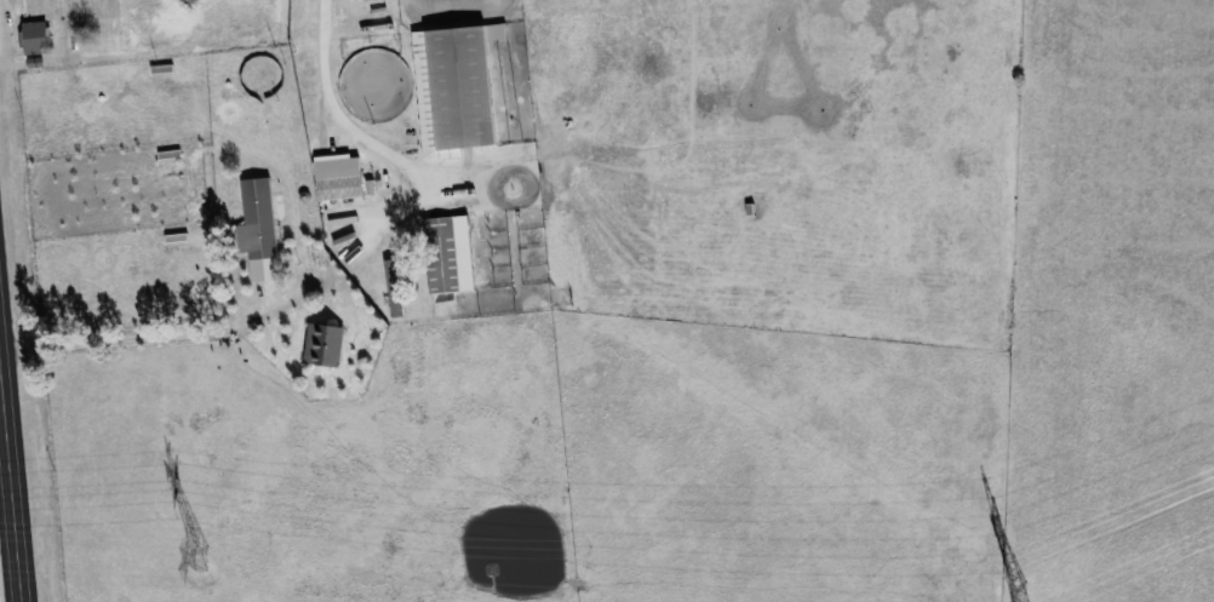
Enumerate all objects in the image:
building: (33, 4)
building: (38, 36)
building: (454, 88)
road: (340, 113)
building: (340, 185)
building: (258, 218)
building: (449, 252)
road: (241, 321)
building: (325, 343)
road: (11, 453)
power tower: (200, 556)
power tower: (1021, 596)

